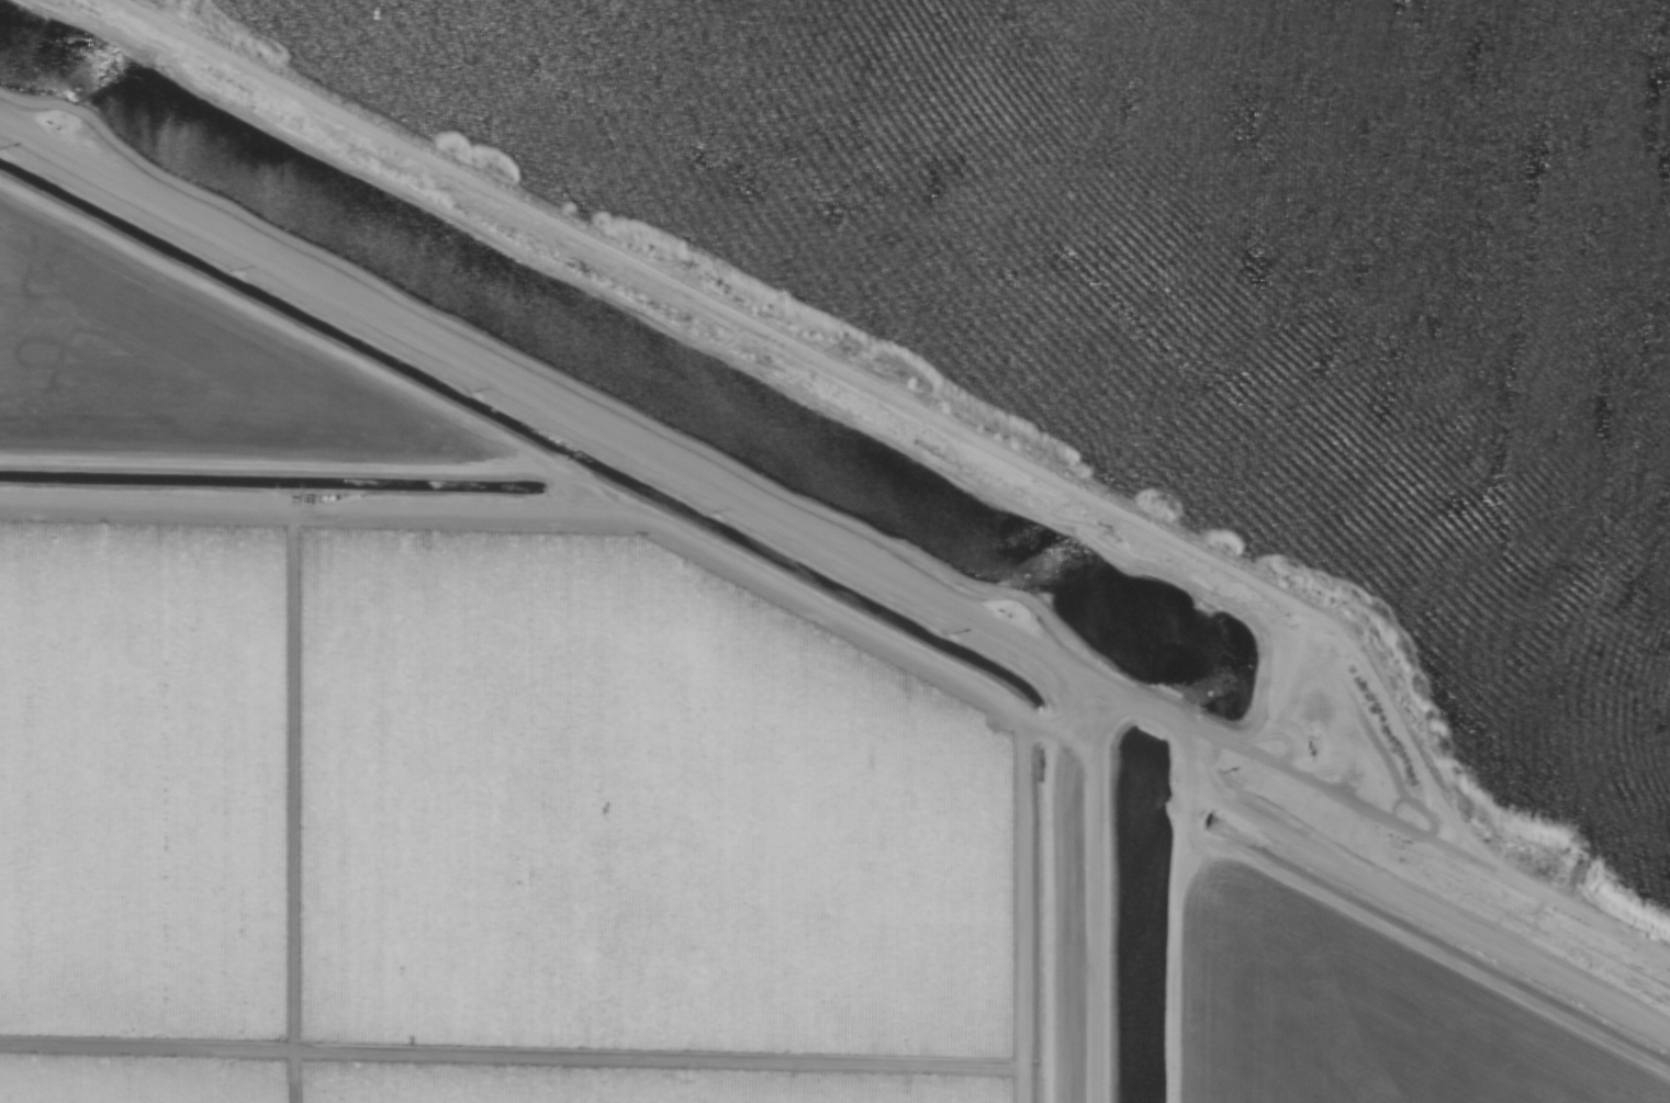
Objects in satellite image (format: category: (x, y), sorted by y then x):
crop: (662, 742)

